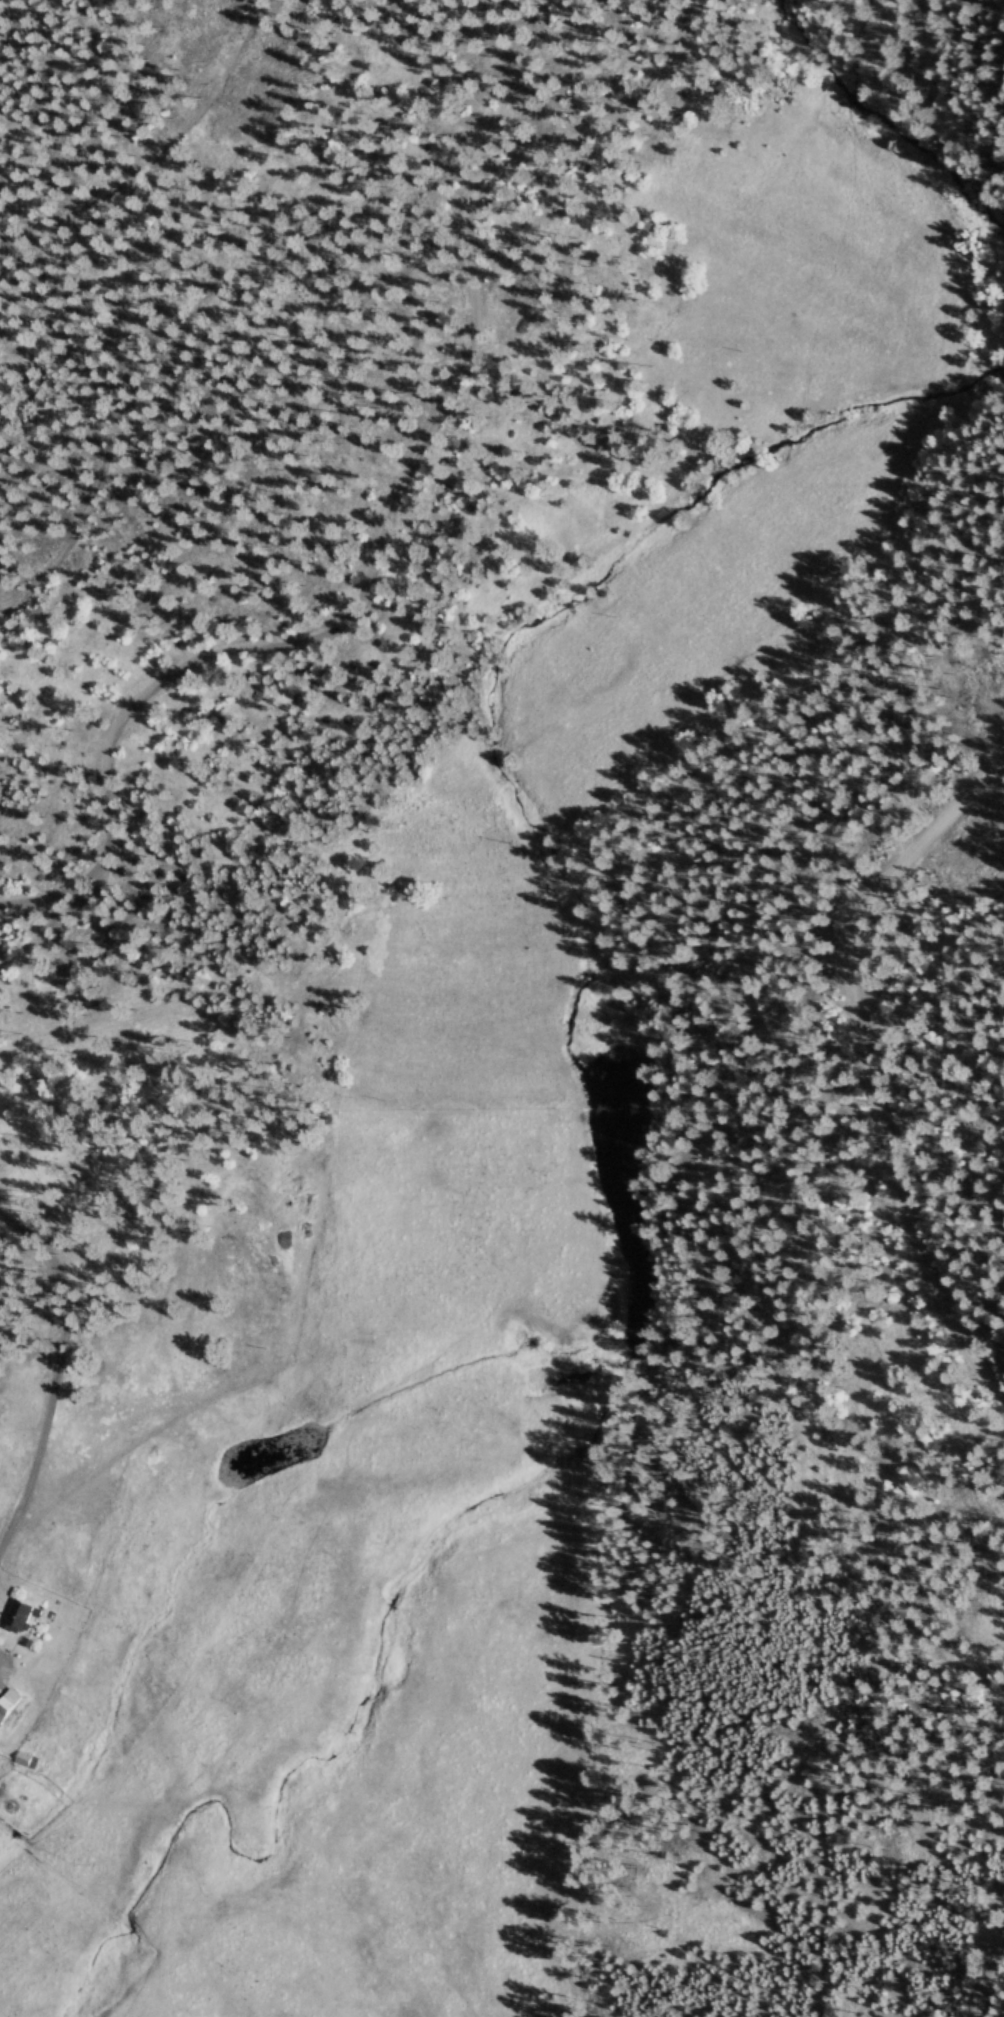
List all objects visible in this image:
road: (387, 511)
road: (869, 1069)
road: (62, 1384)
building: (17, 1624)
building: (30, 1626)
building: (8, 1712)
building: (24, 1768)
road: (991, 1985)

